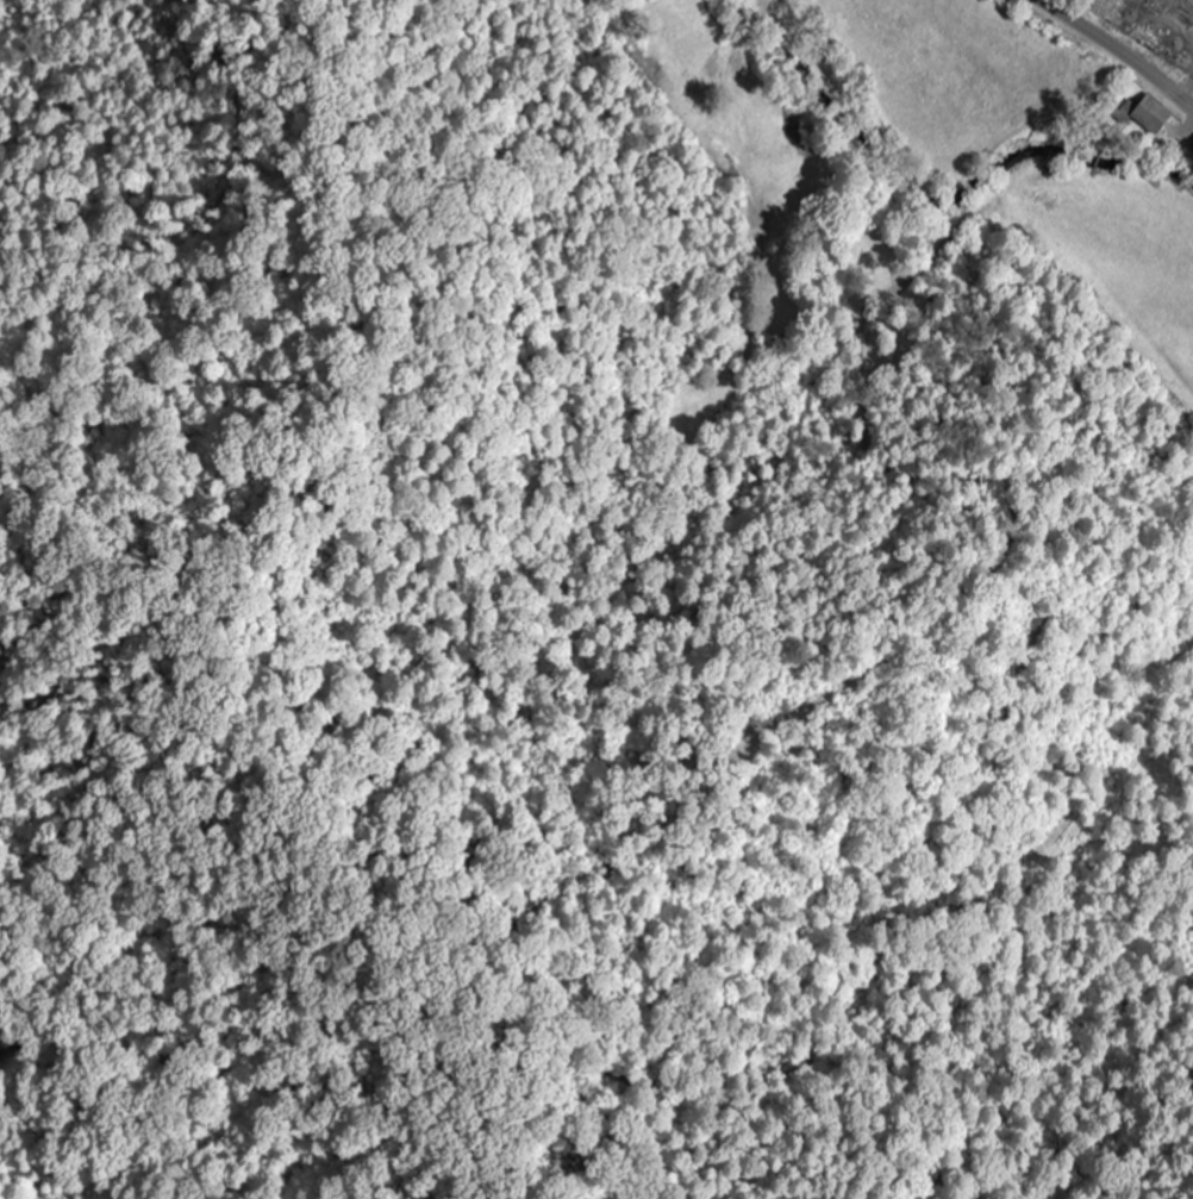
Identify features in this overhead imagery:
road: (752, 19)
road: (1112, 58)
building: (1151, 114)
building: (806, 186)

